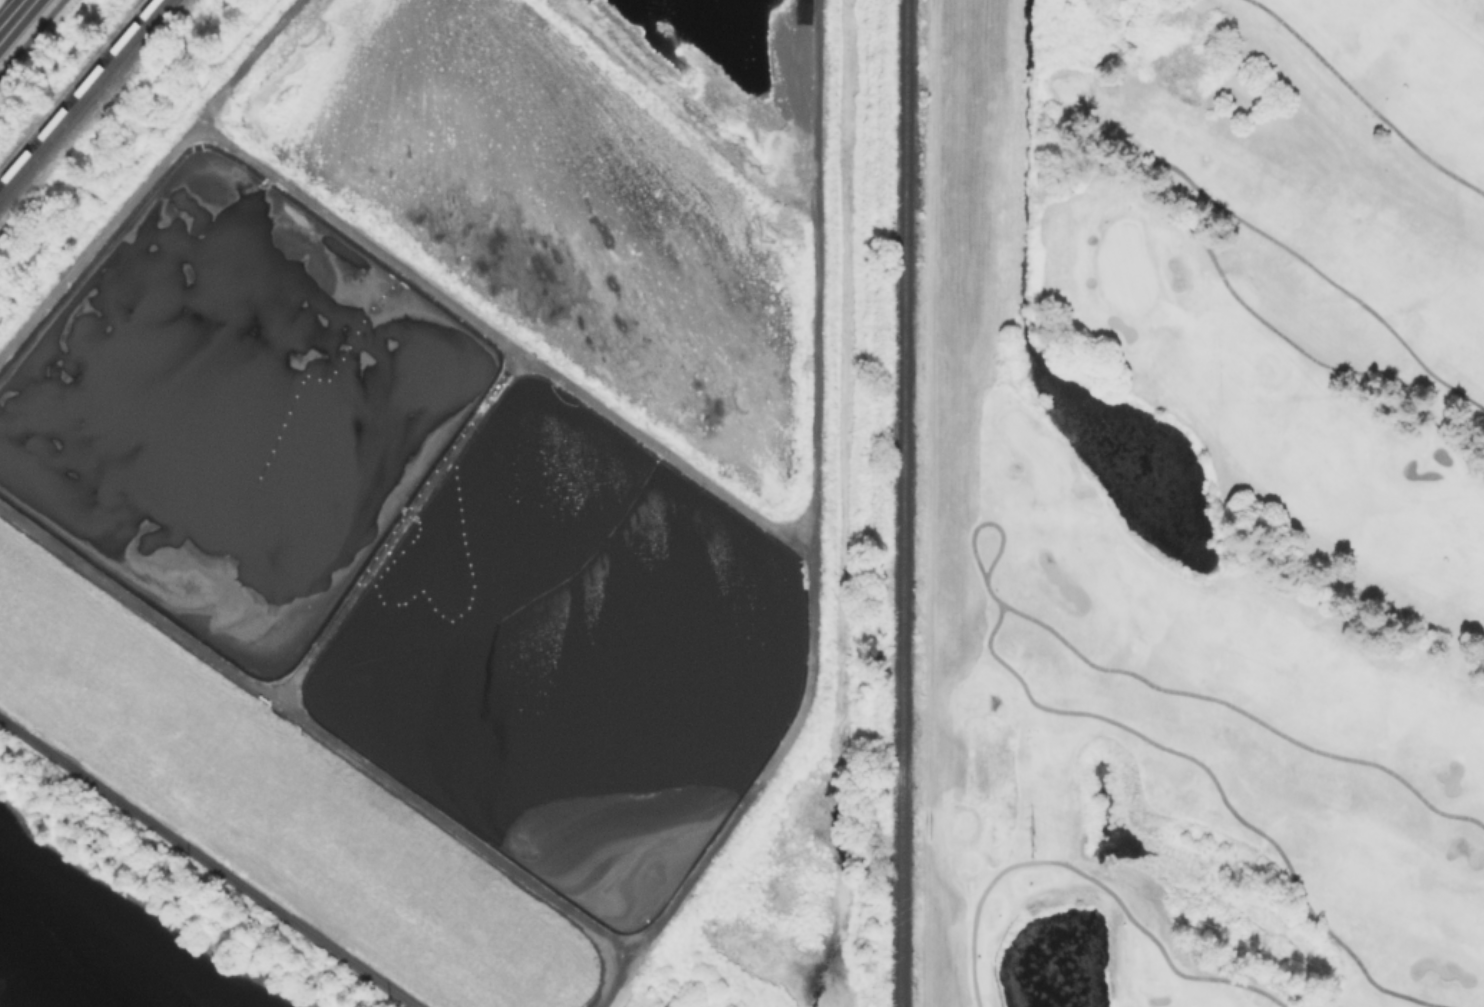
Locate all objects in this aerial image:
road: (14, 17)
road: (31, 36)
railway: (77, 90)
railway: (83, 97)
road: (1365, 100)
road: (1148, 196)
wastewater plant: (442, 470)
railway: (902, 503)
road: (929, 503)
park: (1216, 503)
road: (986, 520)
road: (1229, 704)
road: (1220, 790)
road: (208, 861)
road: (1093, 878)

